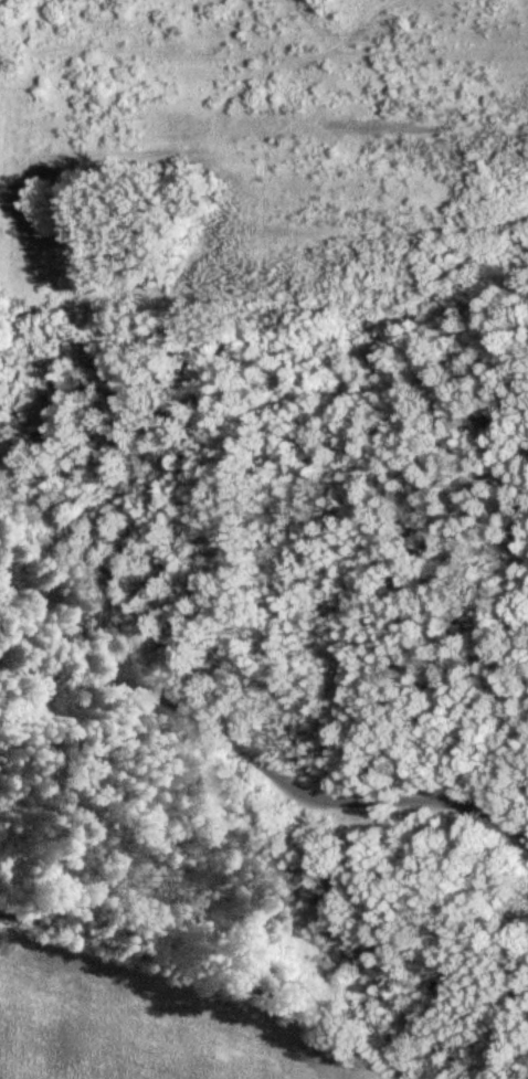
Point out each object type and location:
road: (262, 762)

